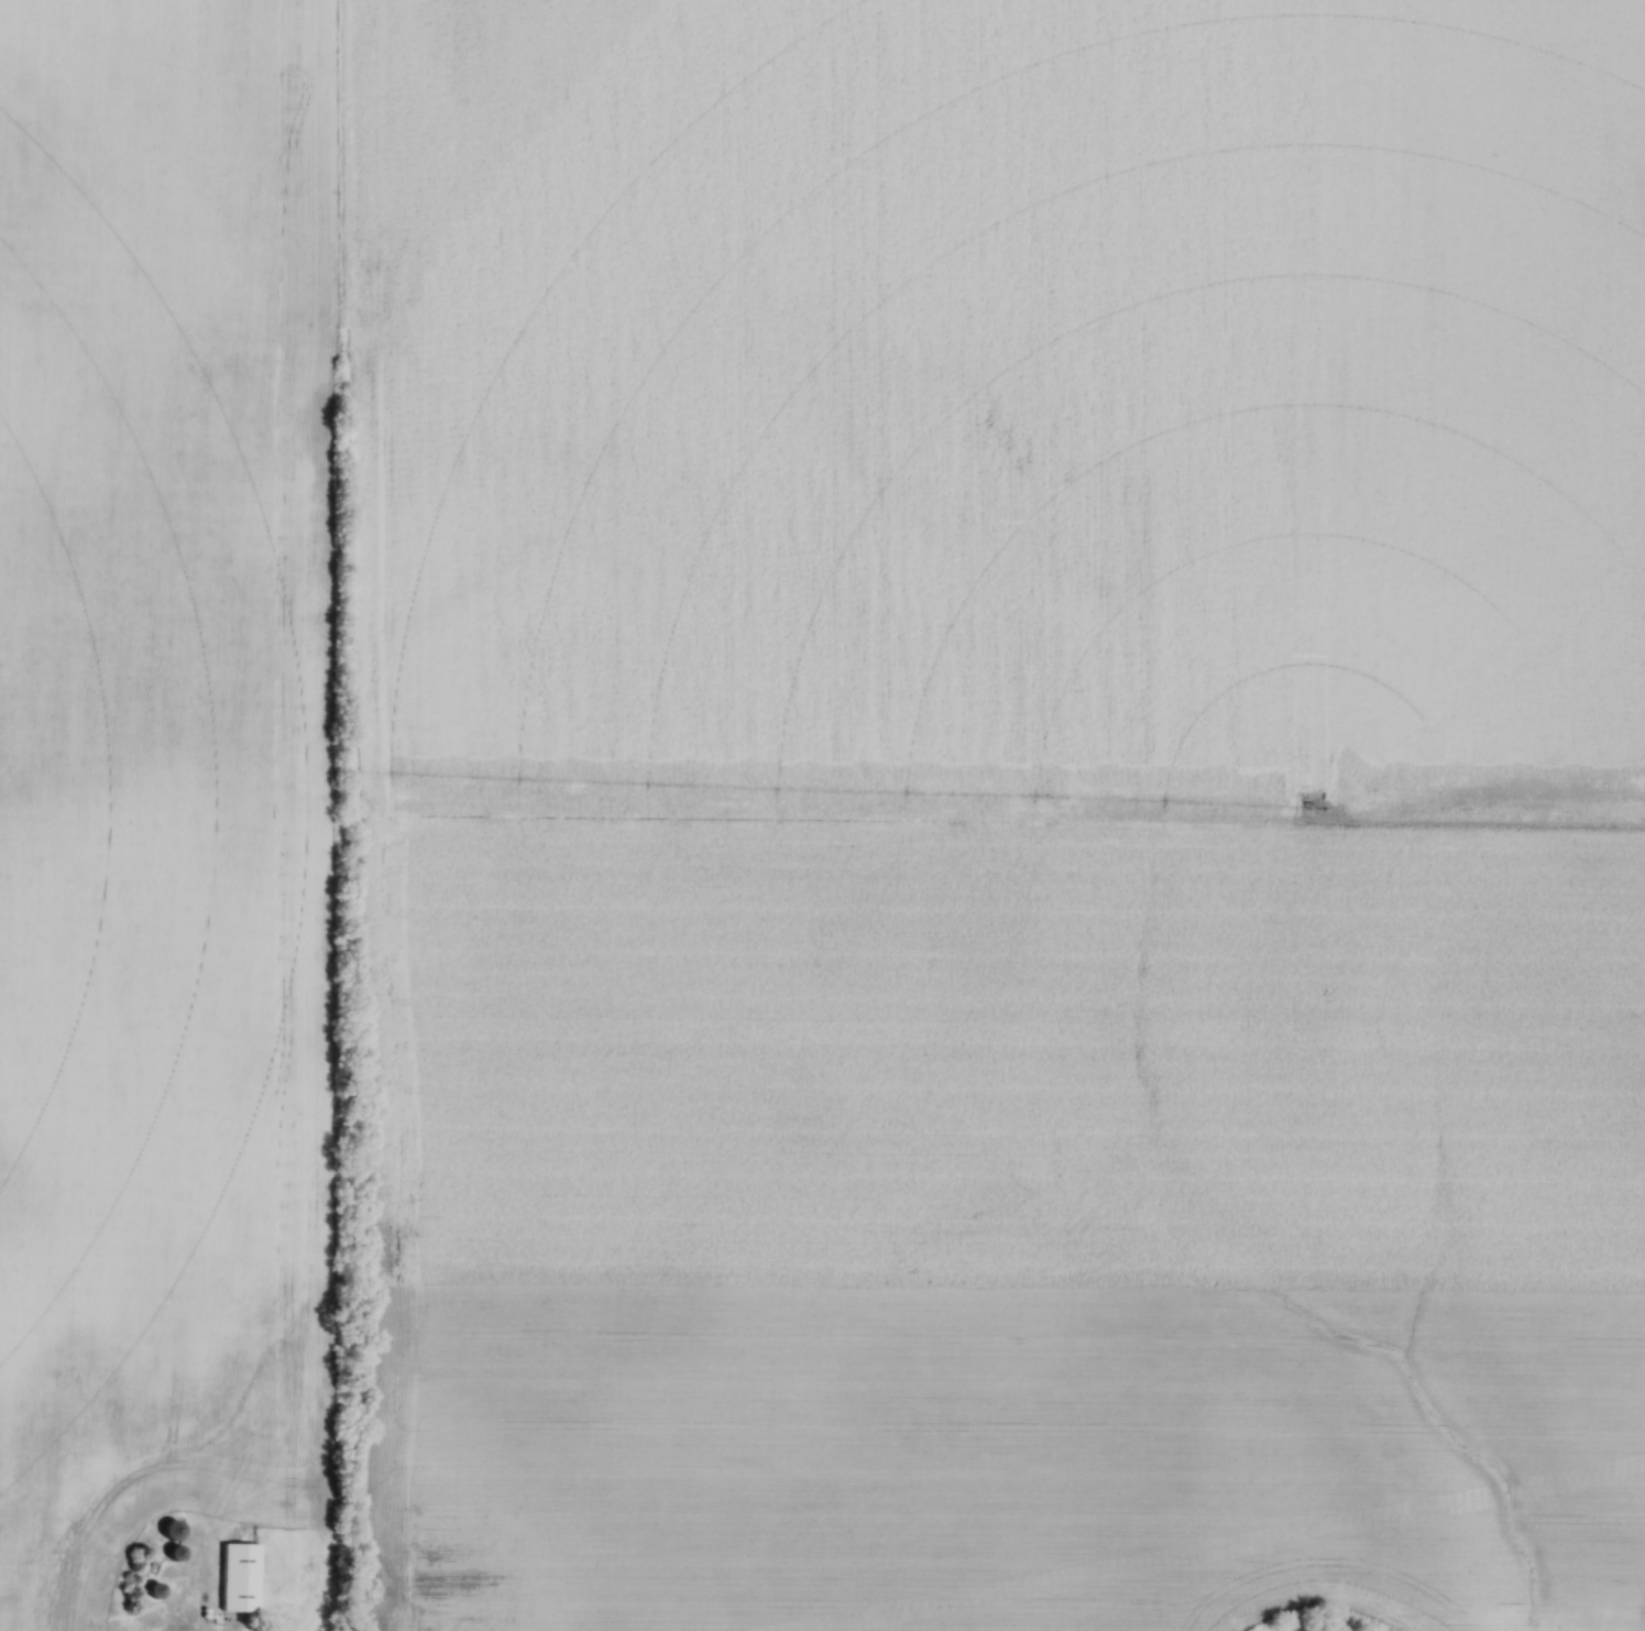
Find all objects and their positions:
building: (178, 1530)
building: (242, 1578)
building: (158, 1591)
road: (218, 1630)

